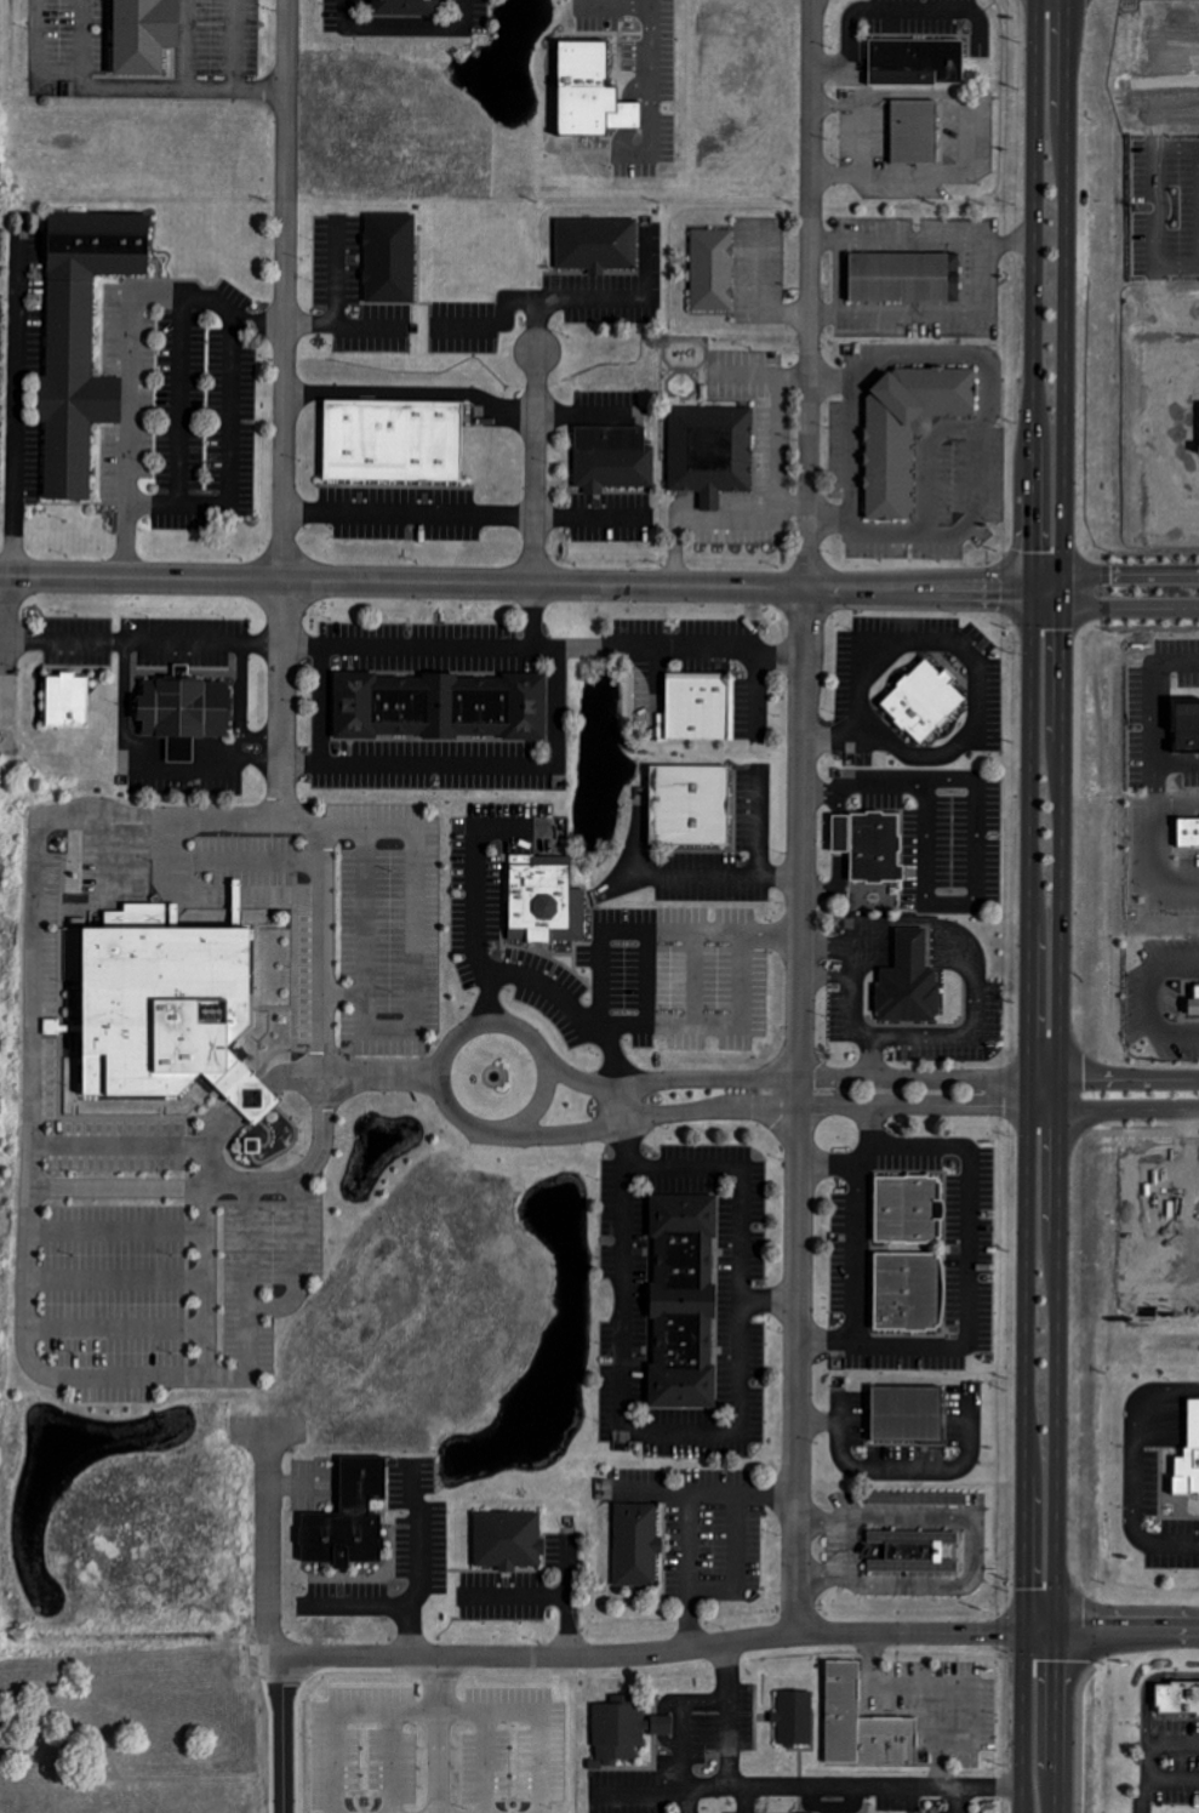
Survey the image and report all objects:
building: (406, 7)
road: (401, 23)
building: (143, 35)
road: (242, 45)
building: (917, 62)
road: (652, 75)
road: (121, 87)
road: (263, 90)
building: (590, 92)
building: (914, 131)
road: (1160, 207)
building: (596, 244)
road: (920, 244)
building: (390, 258)
building: (713, 270)
road: (1063, 276)
building: (904, 278)
road: (826, 280)
road: (1032, 286)
road: (282, 289)
road: (809, 293)
road: (603, 307)
road: (925, 317)
building: (81, 340)
road: (411, 397)
road: (13, 416)
building: (908, 431)
road: (978, 434)
building: (394, 440)
building: (710, 451)
road: (849, 451)
building: (612, 458)
road: (535, 467)
road: (228, 477)
road: (789, 504)
road: (772, 512)
road: (407, 523)
road: (586, 524)
road: (1129, 574)
road: (401, 581)
traffic signals: (1032, 585)
road: (1046, 585)
road: (918, 586)
road: (2, 605)
road: (1125, 608)
road: (138, 639)
road: (667, 648)
road: (301, 657)
road: (120, 682)
road: (278, 684)
road: (239, 688)
road: (974, 697)
building: (68, 701)
building: (924, 701)
building: (440, 707)
building: (698, 708)
road: (1157, 708)
building: (185, 711)
building: (1187, 728)
road: (228, 742)
road: (270, 746)
road: (164, 765)
road: (375, 771)
road: (299, 772)
road: (857, 777)
road: (837, 800)
building: (690, 805)
road: (275, 806)
road: (837, 831)
building: (1188, 833)
building: (869, 845)
road: (832, 883)
road: (1181, 884)
road: (971, 894)
building: (546, 905)
road: (361, 908)
road: (917, 919)
road: (651, 927)
road: (476, 929)
road: (411, 942)
road: (826, 943)
road: (826, 976)
building: (909, 982)
road: (1144, 997)
building: (1194, 1004)
road: (572, 1007)
building: (166, 1011)
road: (709, 1020)
road: (495, 1024)
road: (851, 1027)
road: (28, 1032)
road: (959, 1033)
road: (439, 1073)
road: (1126, 1074)
road: (669, 1079)
road: (914, 1089)
road: (1044, 1089)
road: (538, 1098)
road: (1028, 1102)
road: (799, 1110)
road: (1123, 1110)
road: (610, 1123)
road: (118, 1144)
building: (253, 1147)
road: (868, 1153)
road: (219, 1171)
road: (1057, 1182)
road: (744, 1184)
building: (908, 1209)
road: (860, 1222)
road: (975, 1260)
building: (907, 1293)
building: (684, 1304)
building: (907, 1412)
building: (1189, 1456)
road: (1129, 1467)
building: (943, 1498)
building: (349, 1516)
road: (693, 1523)
building: (508, 1539)
building: (636, 1544)
road: (843, 1545)
road: (972, 1546)
building: (910, 1549)
road: (424, 1563)
road: (270, 1618)
traffic signals: (1054, 1629)
traffic signals: (1023, 1631)
road: (735, 1643)
building: (1178, 1699)
road: (725, 1715)
building: (794, 1716)
road: (1022, 1721)
building: (862, 1724)
road: (441, 1734)
road: (1146, 1760)
road: (679, 1764)
road: (850, 1784)
road: (1140, 1790)
road: (689, 1798)
road: (747, 1798)
road: (953, 1798)

